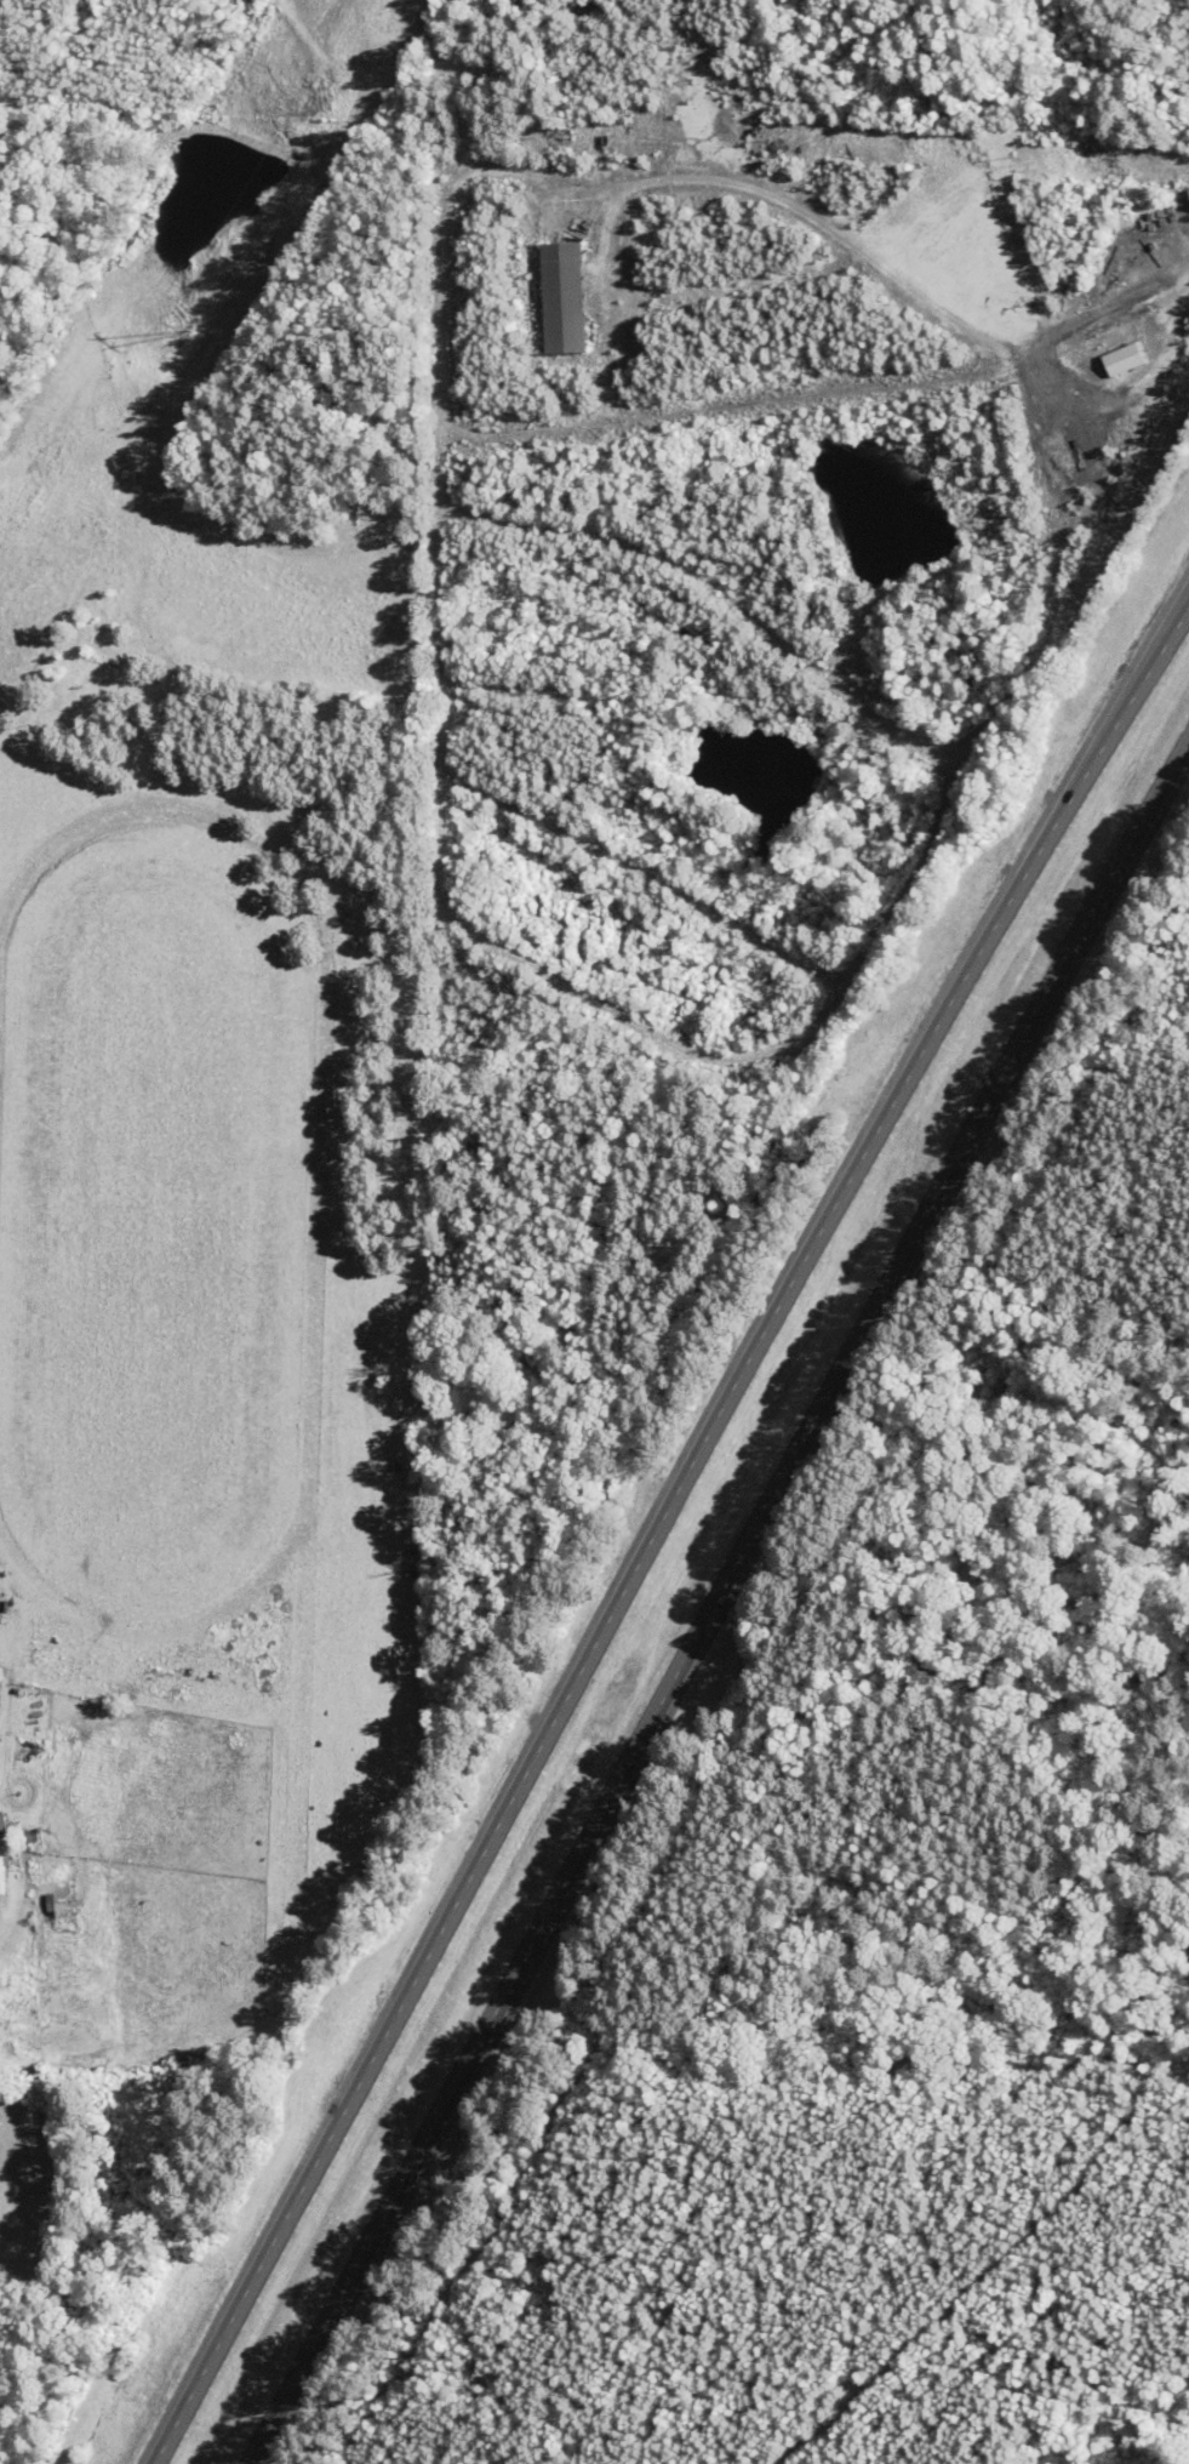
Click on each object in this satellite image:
building: (565, 297)
power tower: (190, 330)
building: (1125, 359)
raceway: (326, 997)
road: (657, 1528)
road: (745, 1544)
raceway: (158, 1629)
raceway: (303, 1712)
building: (2, 1823)
building: (1, 1871)
road: (279, 2406)

